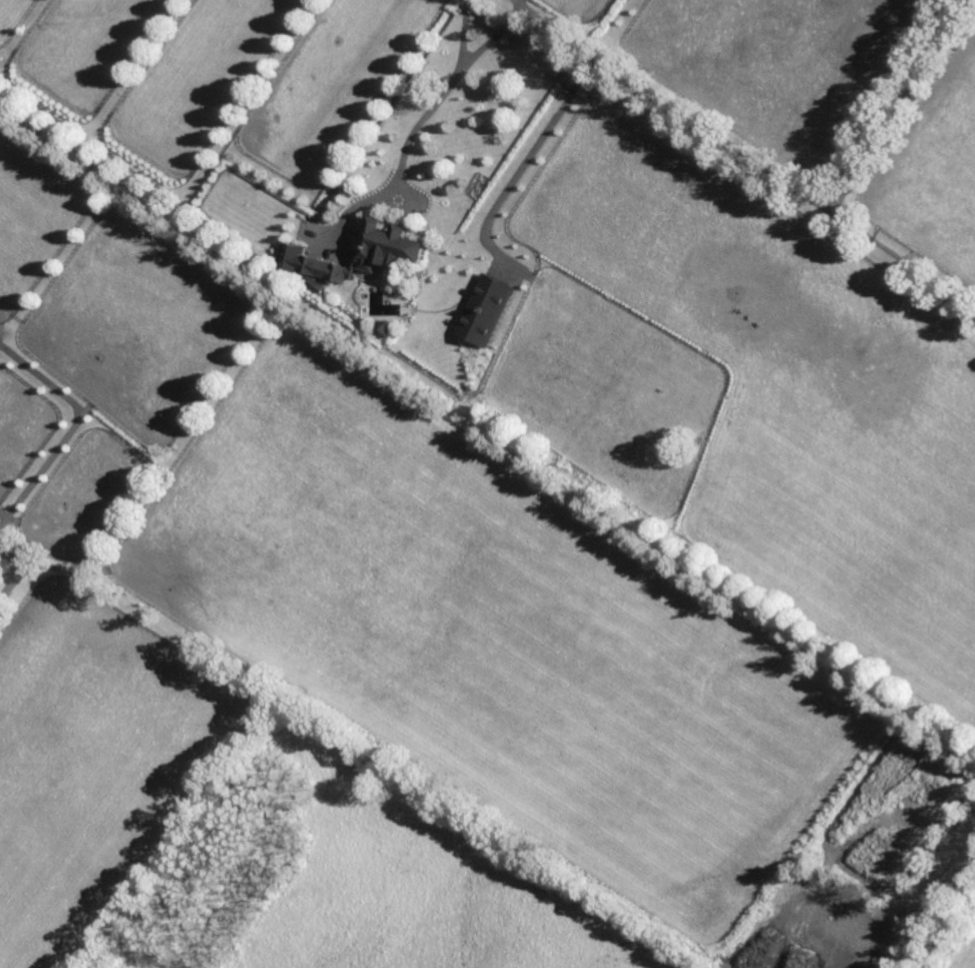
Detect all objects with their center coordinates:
road: (526, 161)
road: (779, 173)
building: (389, 248)
road: (901, 260)
building: (333, 271)
building: (402, 292)
building: (487, 309)
building: (383, 328)
road: (19, 567)

